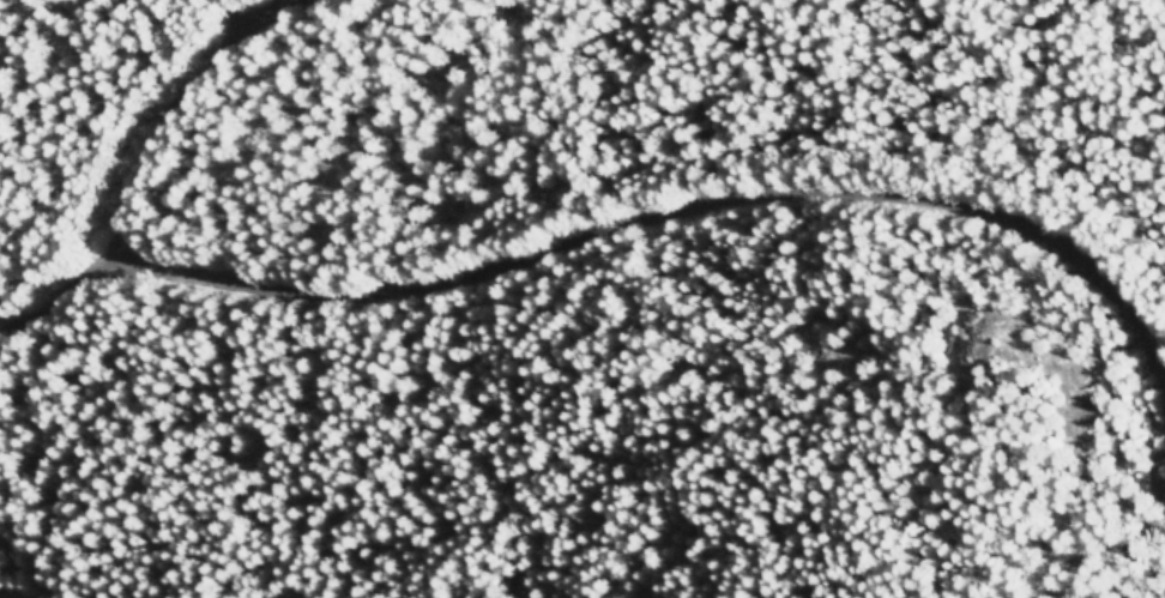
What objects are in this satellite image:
road: (227, 22)
road: (179, 92)
road: (610, 231)

